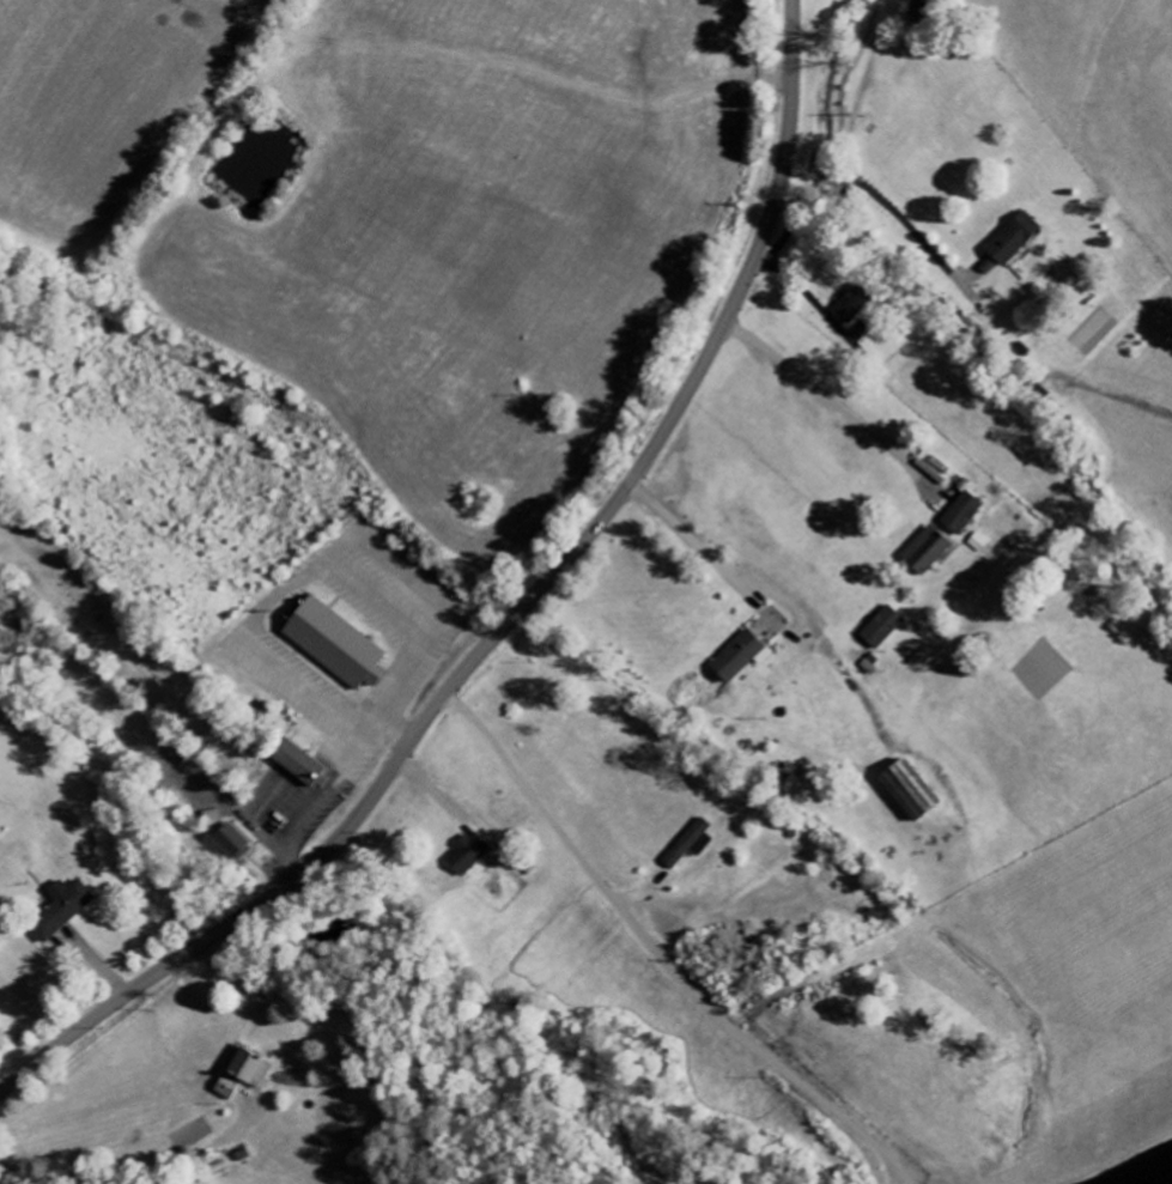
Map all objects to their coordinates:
road: (851, 182)
building: (1014, 239)
building: (855, 304)
road: (831, 401)
building: (964, 514)
building: (979, 544)
building: (928, 552)
road: (773, 599)
road: (511, 620)
building: (883, 629)
building: (336, 645)
park: (145, 646)
building: (741, 657)
building: (911, 791)
building: (233, 843)
building: (692, 845)
building: (469, 855)
building: (61, 910)
road: (662, 954)
building: (243, 1074)
road: (1107, 1153)
road: (225, 1166)
road: (122, 1173)
road: (894, 1174)
road: (915, 1183)

